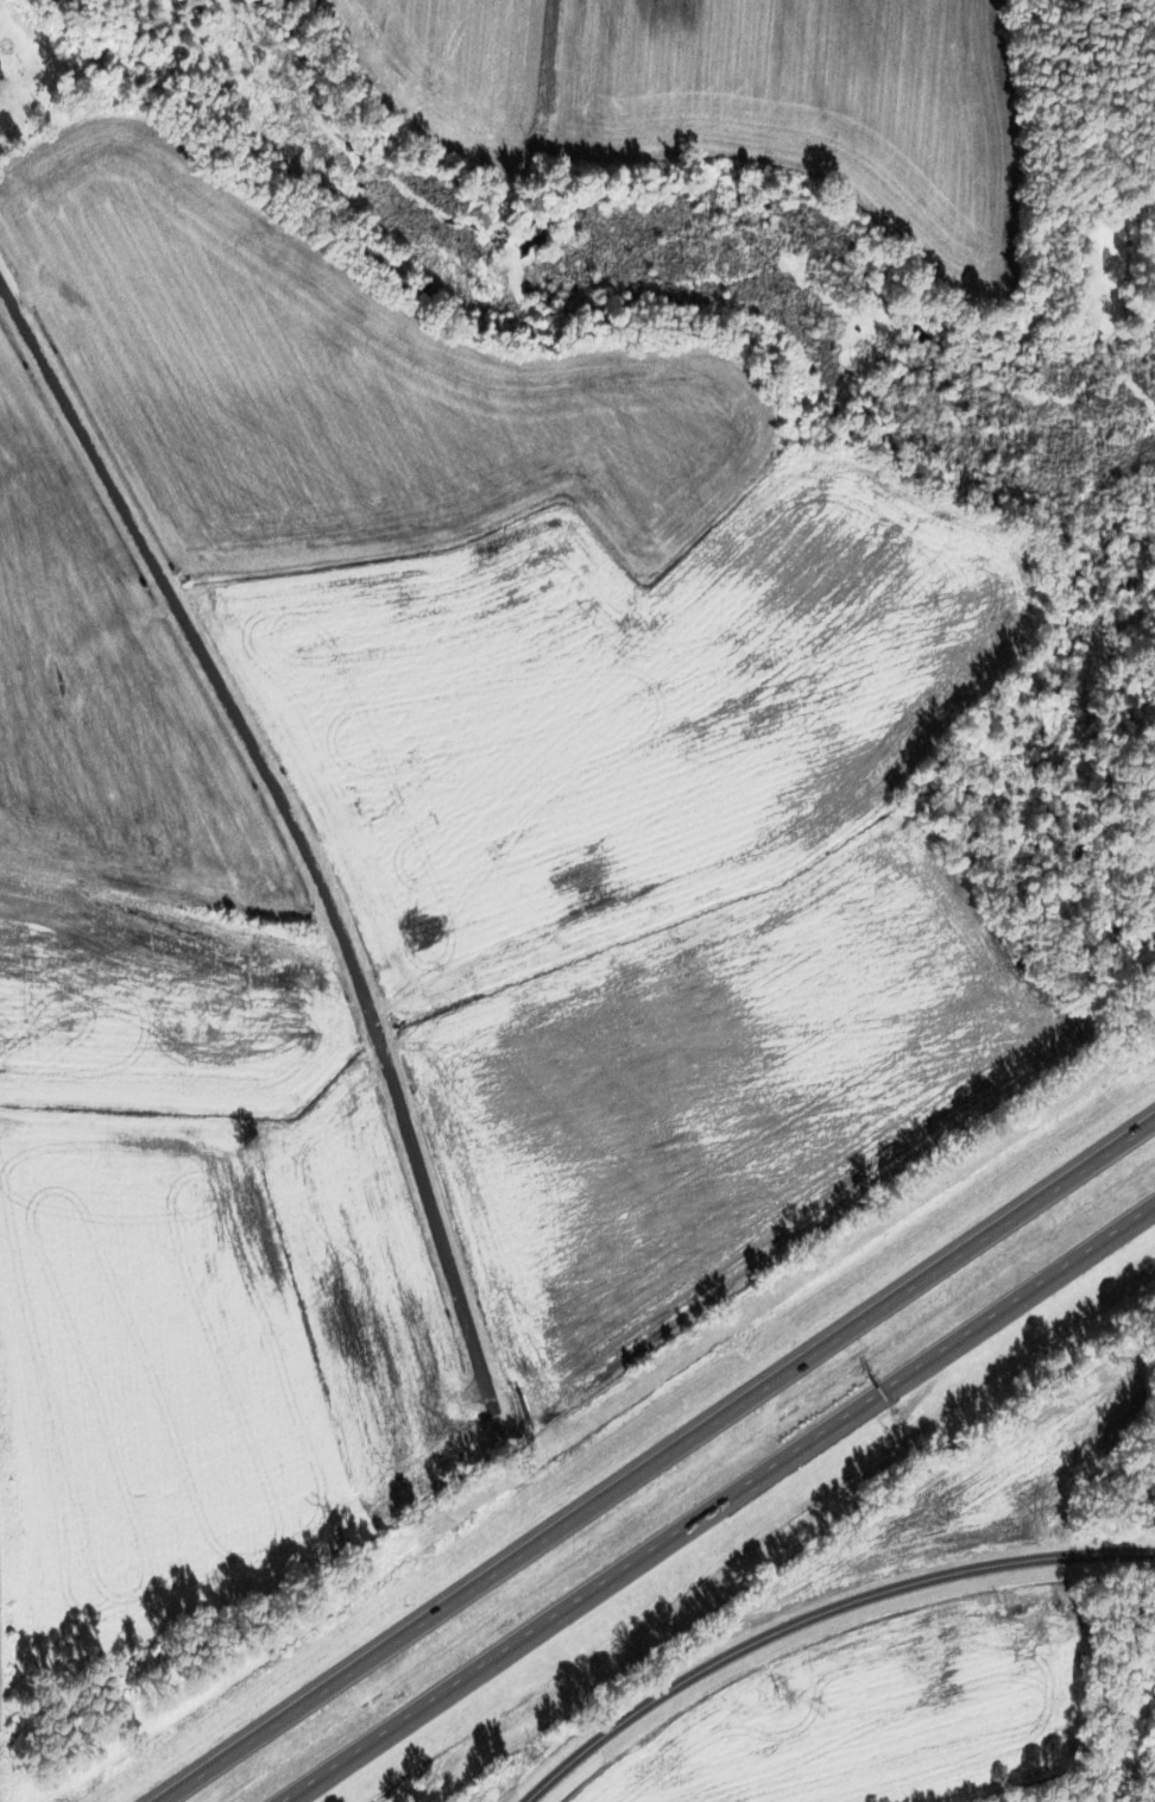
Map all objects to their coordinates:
building: (6, 63)
building: (4, 121)
road: (291, 827)
road: (673, 1464)
road: (727, 1510)
road: (816, 1614)

